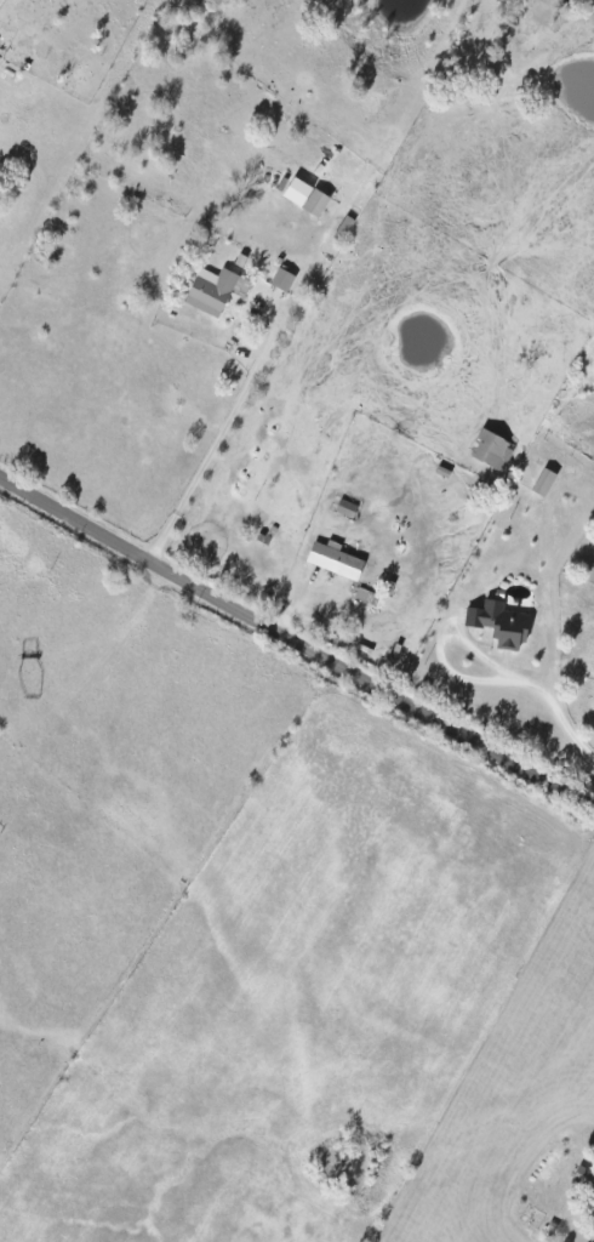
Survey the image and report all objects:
building: (305, 196)
building: (344, 227)
building: (282, 279)
building: (211, 290)
road: (228, 446)
building: (491, 450)
building: (543, 482)
building: (335, 559)
building: (499, 623)
road: (297, 654)
road: (550, 708)
building: (583, 1175)
building: (593, 1206)
building: (593, 1226)

